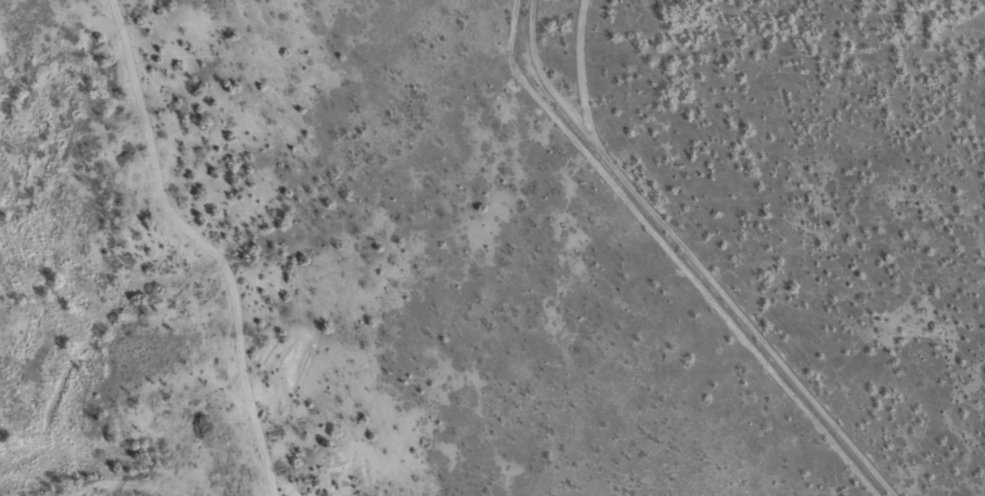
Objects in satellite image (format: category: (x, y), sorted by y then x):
road: (670, 259)

